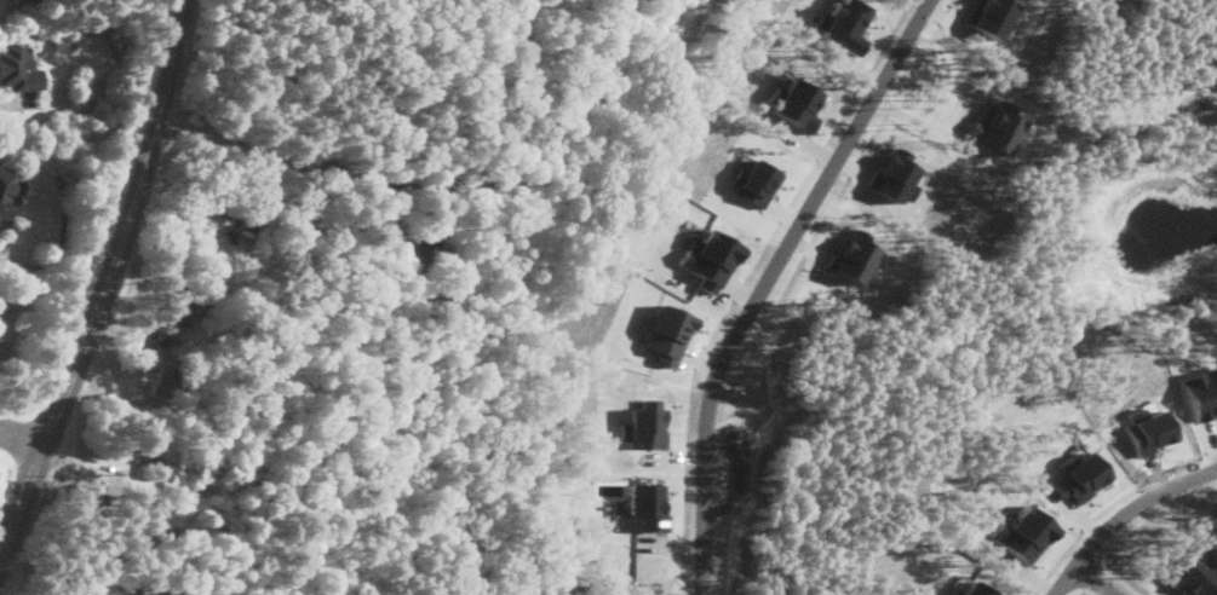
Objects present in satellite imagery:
building: (989, 15)
building: (17, 67)
building: (793, 100)
road: (922, 121)
building: (1001, 129)
road: (289, 156)
building: (892, 174)
building: (753, 180)
building: (7, 189)
building: (223, 192)
building: (326, 232)
building: (414, 253)
building: (850, 254)
building: (710, 258)
road: (108, 279)
road: (763, 281)
building: (180, 310)
building: (666, 331)
building: (644, 426)
road: (21, 440)
building: (150, 466)
building: (1078, 473)
building: (641, 507)
road: (1121, 514)
building: (1022, 532)
building: (1194, 572)
road: (1098, 579)
building: (970, 589)

